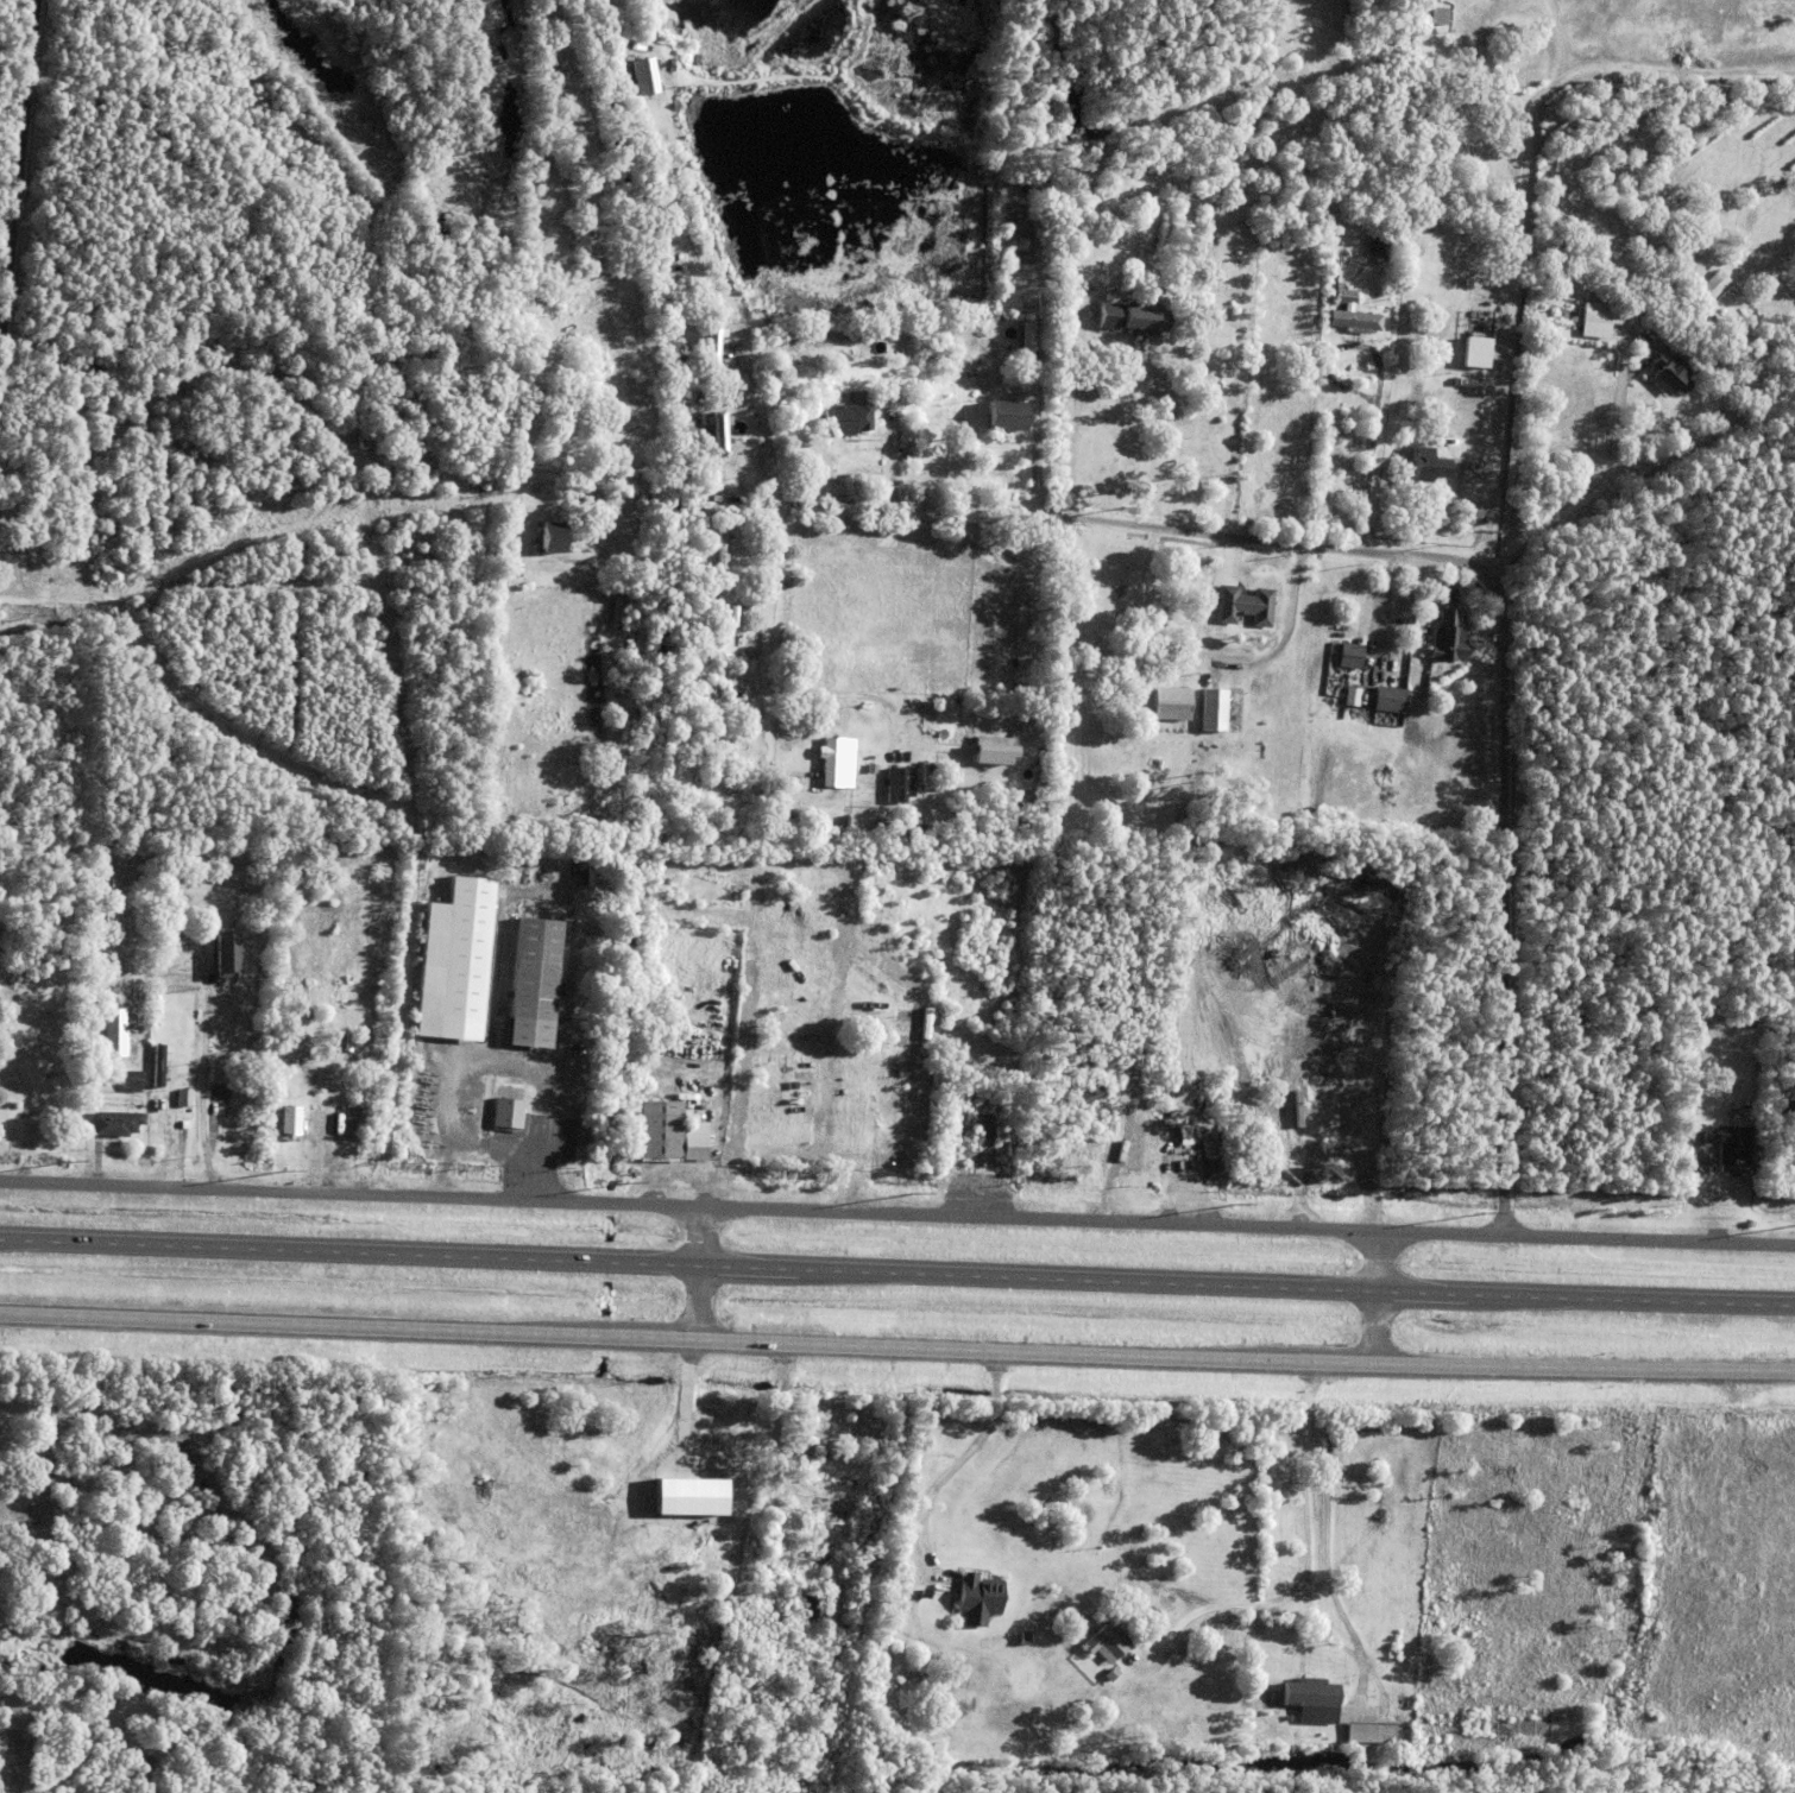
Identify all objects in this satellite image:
building: (607, 13)
building: (1437, 14)
building: (1525, 58)
building: (1461, 63)
building: (1612, 72)
building: (642, 78)
road: (17, 196)
building: (1077, 219)
building: (1064, 238)
building: (1379, 242)
building: (1385, 263)
building: (1712, 283)
building: (1480, 290)
building: (1075, 291)
building: (1618, 293)
building: (1341, 297)
building: (536, 299)
building: (1600, 315)
building: (1107, 317)
road: (233, 318)
building: (1147, 318)
building: (1354, 322)
building: (1223, 337)
building: (1474, 341)
building: (716, 342)
building: (742, 347)
building: (846, 348)
building: (819, 351)
building: (713, 358)
building: (87, 368)
building: (1027, 375)
building: (1670, 375)
building: (984, 377)
building: (1021, 386)
building: (889, 393)
building: (1090, 397)
building: (565, 408)
building: (427, 409)
building: (1004, 418)
building: (846, 421)
building: (1140, 422)
building: (615, 424)
building: (725, 430)
road: (768, 436)
road: (610, 468)
building: (23, 469)
building: (707, 513)
building: (555, 537)
road: (1361, 550)
building: (1239, 605)
building: (1440, 637)
building: (1344, 655)
building: (1353, 696)
building: (1384, 699)
building: (1173, 703)
building: (1207, 709)
building: (990, 752)
building: (836, 764)
building: (919, 778)
building: (897, 788)
building: (908, 831)
building: (225, 960)
building: (456, 960)
building: (529, 985)
building: (111, 1031)
building: (346, 1044)
building: (290, 1047)
building: (128, 1048)
building: (126, 1079)
building: (1082, 1092)
road: (201, 1096)
building: (179, 1097)
building: (29, 1115)
building: (503, 1115)
building: (1782, 1118)
building: (111, 1123)
building: (289, 1124)
building: (656, 1130)
building: (1185, 1134)
building: (976, 1138)
building: (689, 1142)
building: (1730, 1148)
building: (1207, 1151)
building: (1703, 1161)
road: (896, 1213)
road: (896, 1270)
road: (700, 1275)
road: (1377, 1299)
road: (896, 1350)
building: (736, 1429)
building: (761, 1434)
road: (8, 1445)
building: (738, 1447)
road: (956, 1459)
road: (673, 1477)
building: (824, 1515)
building: (566, 1540)
building: (691, 1547)
road: (1306, 1568)
road: (667, 1573)
building: (921, 1593)
building: (974, 1599)
building: (810, 1606)
building: (1019, 1640)
building: (1102, 1642)
road: (1363, 1661)
building: (1107, 1675)
road: (1465, 1697)
building: (1306, 1699)
building: (1365, 1731)

